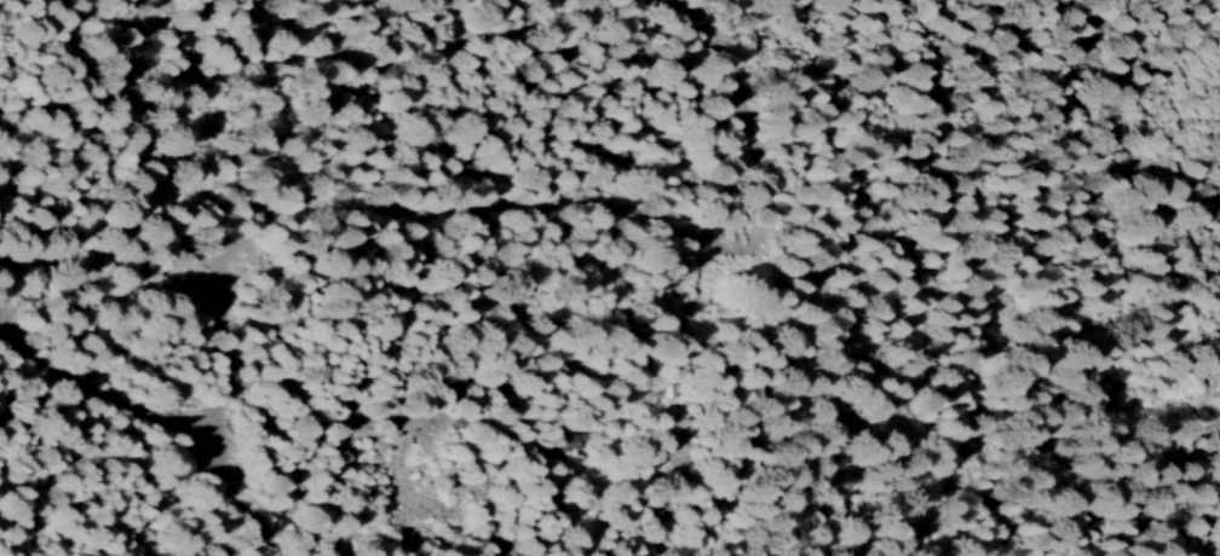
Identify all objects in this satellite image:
road: (166, 423)

